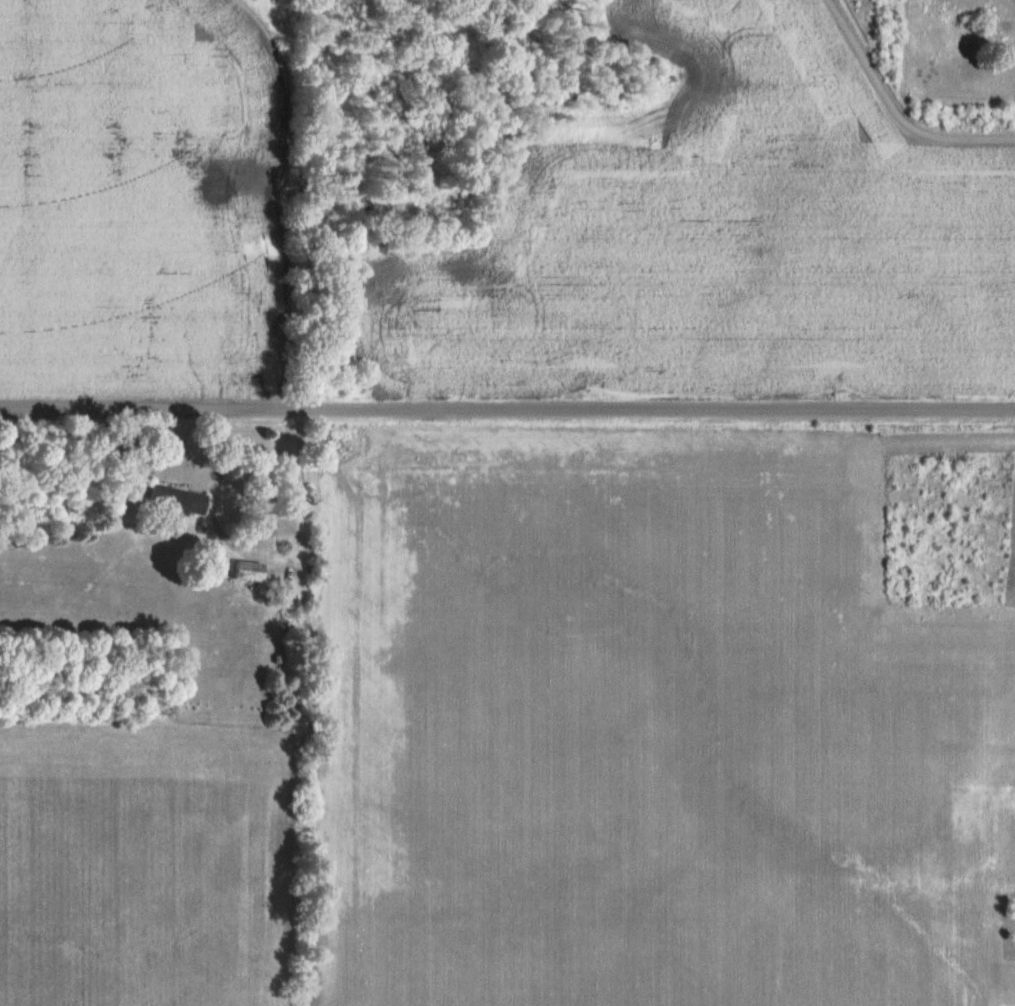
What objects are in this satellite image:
road: (898, 108)
road: (507, 411)
building: (177, 503)
building: (248, 571)

